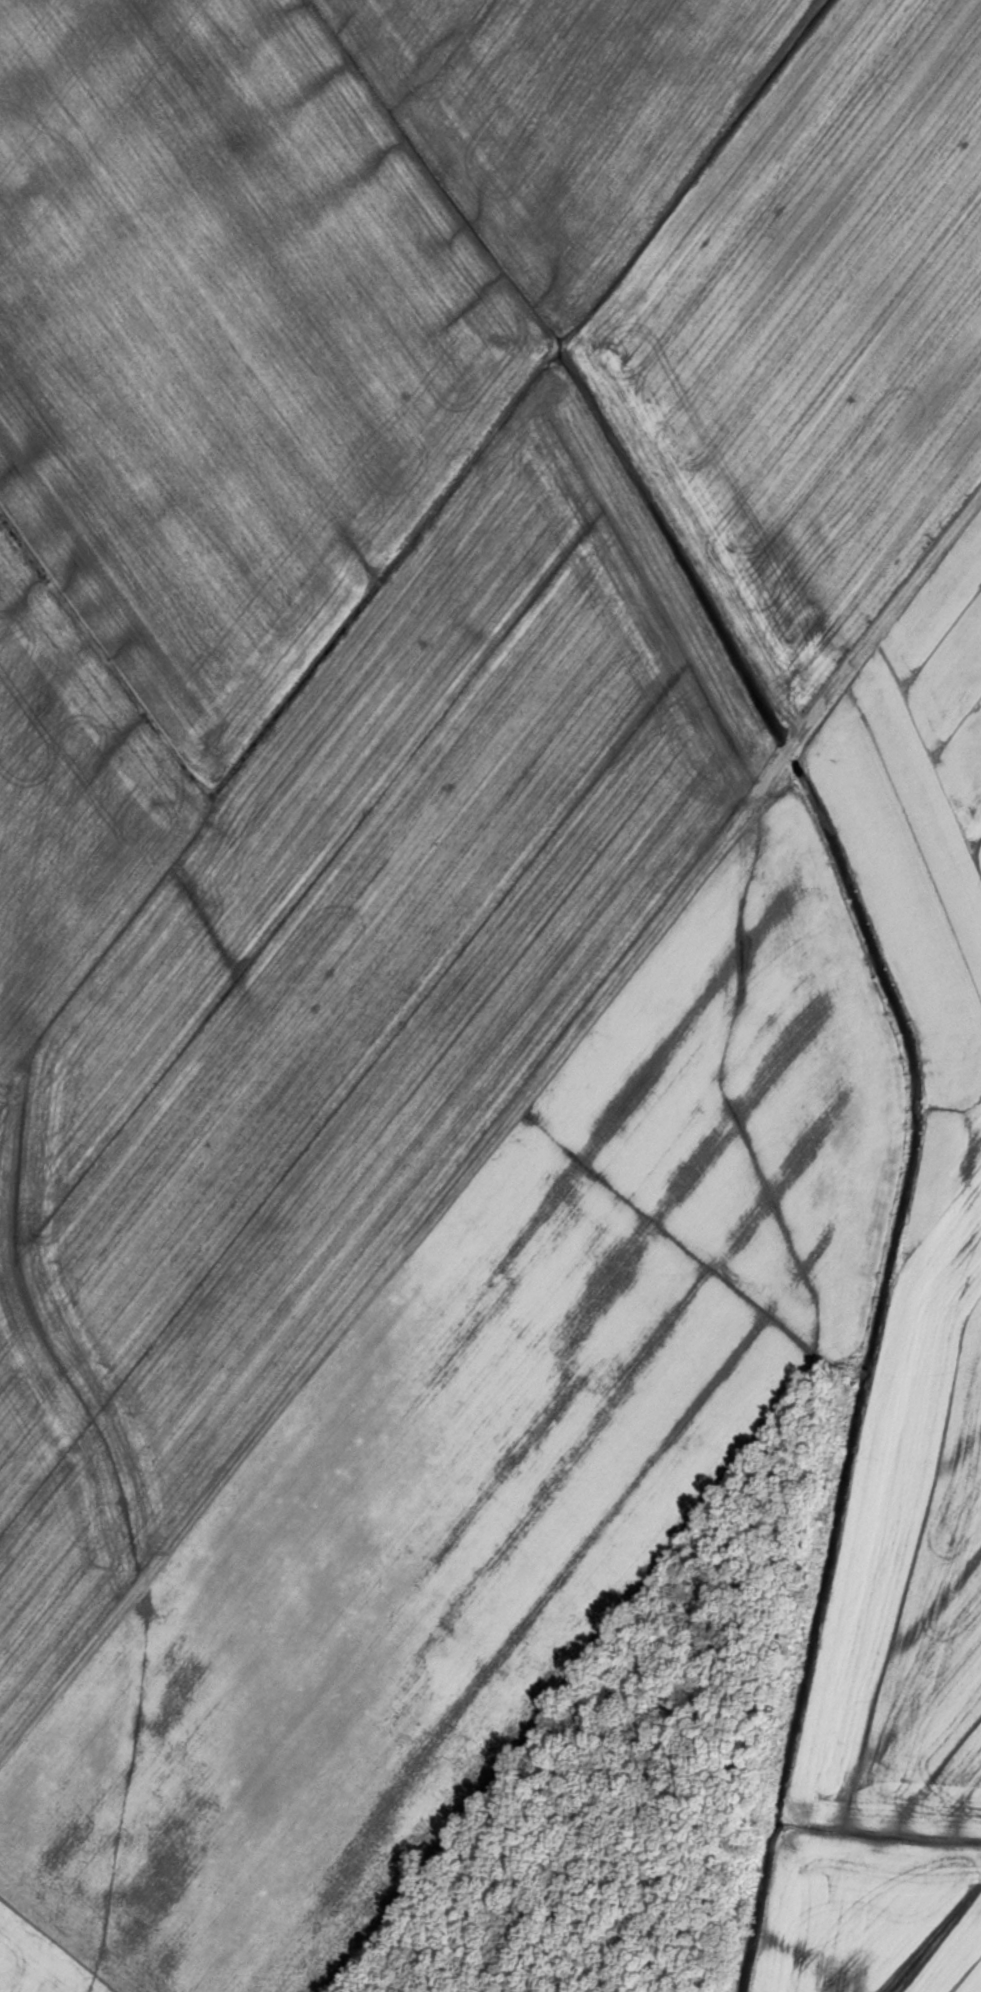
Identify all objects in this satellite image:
road: (490, 1124)

